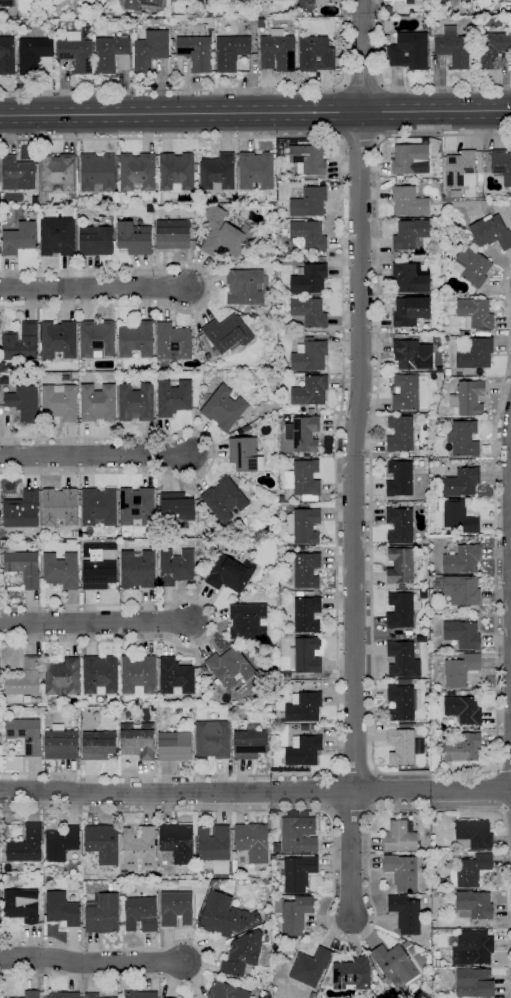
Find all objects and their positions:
building: (234, 0)
building: (173, 1)
building: (321, 2)
building: (7, 3)
building: (131, 6)
building: (387, 10)
building: (15, 15)
building: (172, 15)
building: (261, 23)
building: (246, 25)
building: (175, 31)
building: (172, 41)
building: (453, 48)
building: (33, 49)
building: (491, 49)
building: (409, 50)
building: (150, 51)
building: (76, 52)
building: (196, 52)
building: (230, 52)
building: (277, 52)
building: (112, 54)
building: (315, 54)
building: (7, 56)
road: (363, 83)
road: (405, 87)
road: (214, 90)
road: (255, 113)
road: (359, 141)
building: (308, 159)
building: (410, 159)
building: (502, 165)
building: (460, 169)
building: (256, 170)
building: (137, 172)
building: (176, 172)
building: (17, 173)
building: (57, 173)
building: (97, 173)
building: (217, 173)
building: (399, 177)
building: (455, 194)
building: (107, 198)
building: (34, 201)
building: (409, 202)
building: (309, 203)
building: (196, 207)
building: (204, 208)
building: (149, 209)
building: (491, 232)
building: (172, 234)
building: (224, 234)
building: (410, 234)
building: (307, 235)
building: (464, 235)
building: (57, 237)
building: (18, 238)
building: (133, 238)
building: (96, 239)
building: (470, 240)
building: (198, 252)
building: (396, 254)
building: (473, 266)
building: (409, 277)
building: (309, 280)
road: (93, 286)
road: (210, 287)
building: (244, 287)
building: (439, 297)
building: (280, 300)
building: (410, 311)
building: (309, 312)
building: (476, 315)
building: (227, 334)
building: (97, 339)
building: (58, 340)
building: (136, 340)
building: (173, 342)
building: (20, 343)
building: (474, 353)
building: (413, 355)
building: (309, 356)
building: (74, 366)
building: (2, 369)
building: (439, 370)
building: (447, 372)
building: (474, 378)
building: (199, 380)
building: (310, 391)
building: (409, 391)
building: (173, 397)
road: (359, 397)
building: (468, 398)
building: (59, 402)
building: (136, 402)
building: (24, 403)
building: (97, 403)
building: (223, 408)
building: (310, 412)
building: (246, 429)
building: (303, 433)
building: (400, 434)
building: (463, 439)
road: (336, 453)
road: (212, 454)
road: (95, 455)
building: (244, 455)
building: (398, 459)
building: (399, 478)
building: (303, 480)
building: (461, 482)
building: (224, 499)
building: (98, 506)
building: (137, 506)
building: (59, 507)
building: (176, 509)
building: (22, 510)
building: (458, 516)
building: (304, 526)
building: (399, 526)
building: (198, 559)
building: (462, 560)
building: (400, 566)
building: (24, 567)
building: (175, 567)
building: (137, 569)
building: (60, 570)
building: (202, 571)
building: (306, 571)
building: (98, 574)
building: (230, 574)
building: (462, 590)
building: (310, 594)
building: (400, 611)
building: (306, 614)
road: (214, 621)
building: (248, 621)
road: (95, 623)
building: (412, 633)
building: (462, 635)
building: (390, 637)
building: (454, 650)
building: (260, 652)
building: (308, 654)
building: (402, 660)
building: (229, 668)
building: (460, 670)
building: (100, 675)
building: (138, 675)
building: (287, 675)
building: (176, 677)
building: (25, 678)
building: (62, 678)
building: (404, 681)
building: (245, 686)
road: (372, 702)
building: (403, 702)
building: (303, 707)
building: (463, 710)
building: (9, 711)
building: (74, 712)
building: (313, 726)
building: (405, 726)
building: (232, 728)
building: (25, 735)
building: (212, 739)
building: (137, 741)
building: (249, 742)
building: (60, 743)
building: (98, 745)
building: (174, 746)
building: (404, 746)
building: (462, 748)
building: (303, 750)
road: (503, 768)
road: (355, 771)
road: (496, 789)
road: (375, 791)
road: (255, 792)
road: (333, 792)
building: (298, 835)
building: (473, 835)
building: (400, 836)
building: (252, 842)
building: (61, 843)
building: (102, 843)
building: (177, 843)
building: (213, 843)
building: (26, 845)
building: (139, 848)
road: (349, 855)
building: (273, 858)
building: (6, 867)
building: (0, 869)
building: (469, 871)
building: (297, 872)
building: (402, 872)
building: (124, 874)
building: (13, 877)
building: (38, 878)
building: (47, 880)
building: (110, 887)
building: (21, 905)
building: (474, 905)
building: (176, 908)
building: (61, 909)
building: (102, 914)
building: (140, 914)
building: (267, 914)
building: (293, 914)
building: (405, 914)
building: (224, 916)
road: (345, 938)
building: (473, 948)
building: (411, 950)
building: (243, 955)
road: (91, 962)
road: (203, 962)
building: (394, 964)
building: (310, 967)
building: (351, 974)
building: (474, 983)
building: (226, 991)
building: (31, 994)
building: (62, 995)
building: (91, 995)
building: (140, 995)
building: (312, 995)
building: (170, 997)

